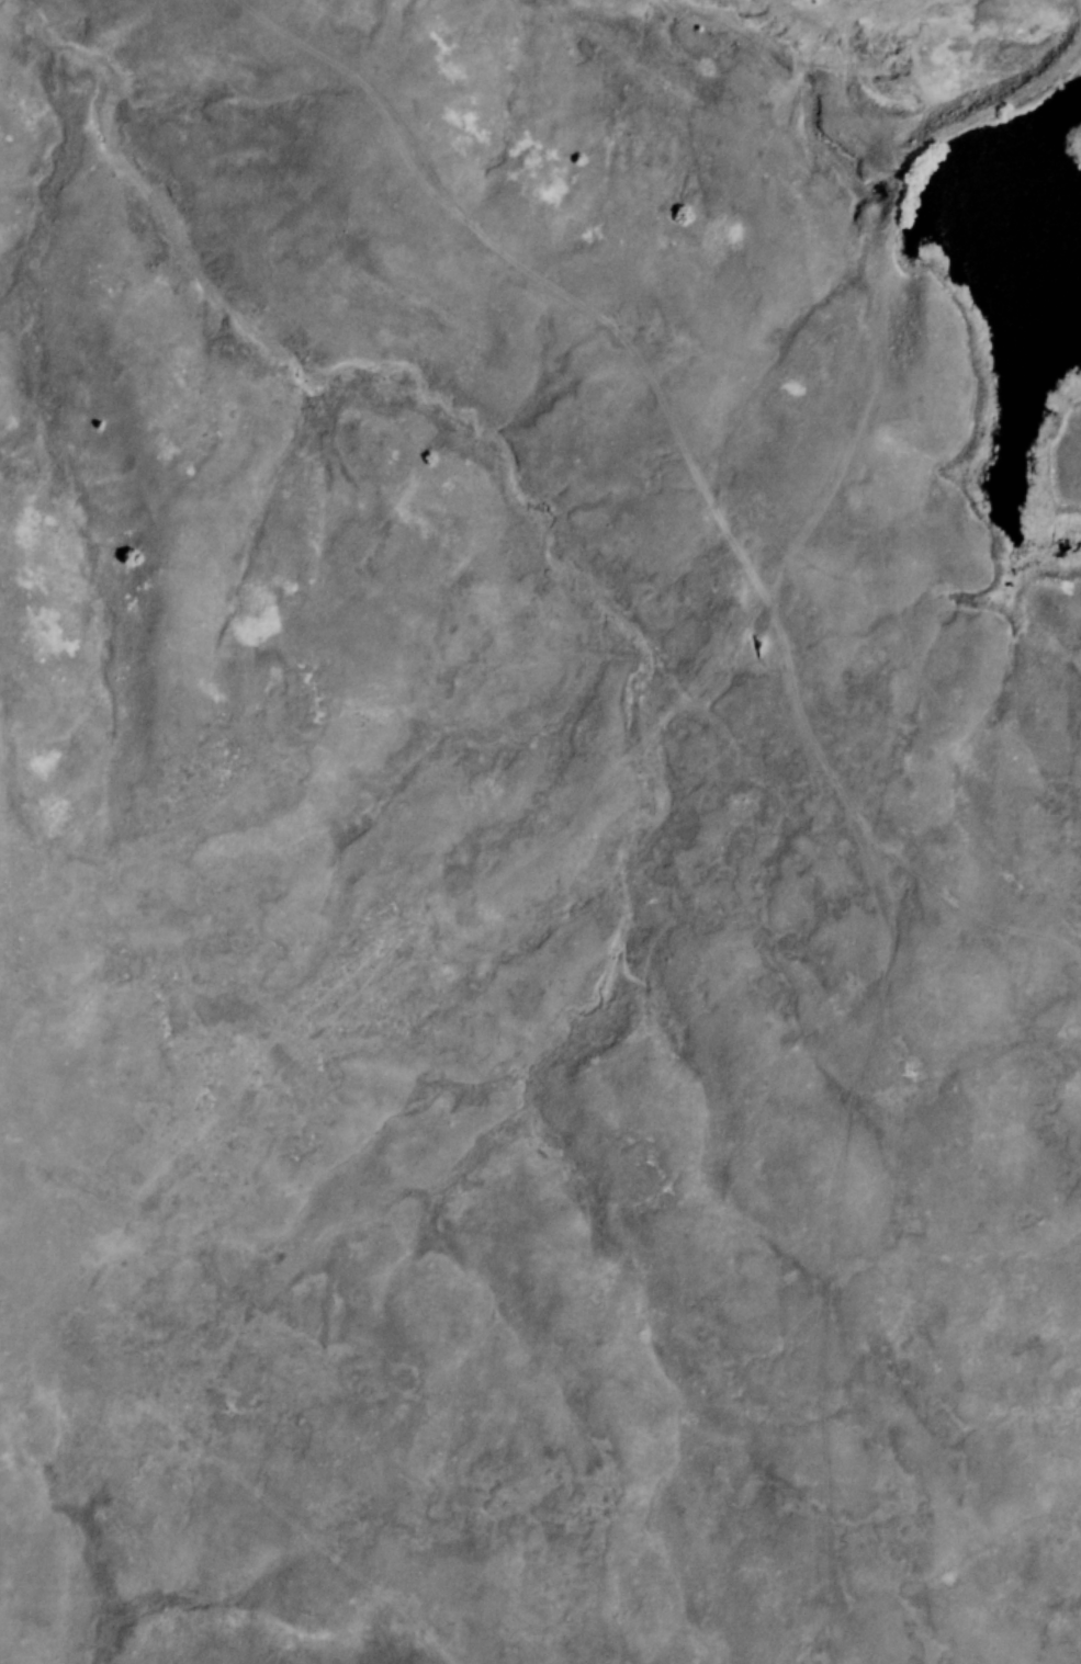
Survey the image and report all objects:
road: (730, 123)
road: (807, 524)
road: (679, 706)
road: (831, 1250)
road: (230, 1471)
road: (851, 1607)

